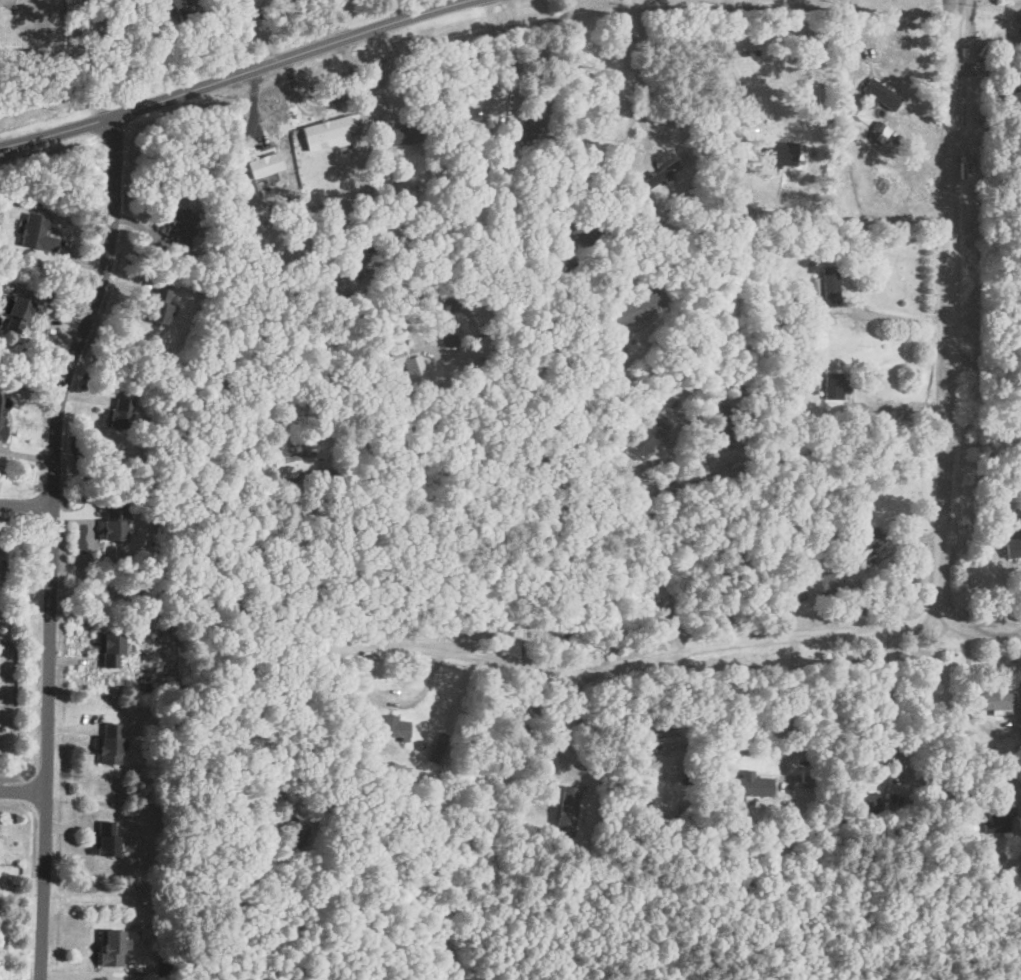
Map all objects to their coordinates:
building: (181, 10)
road: (727, 23)
road: (516, 51)
road: (492, 52)
road: (91, 53)
road: (639, 72)
road: (237, 75)
building: (1006, 87)
building: (879, 93)
road: (577, 99)
road: (362, 100)
building: (468, 117)
building: (325, 129)
building: (525, 129)
road: (747, 131)
building: (263, 165)
building: (657, 176)
building: (178, 225)
building: (582, 228)
building: (36, 233)
building: (367, 255)
building: (829, 286)
building: (156, 306)
building: (636, 308)
building: (15, 315)
road: (947, 315)
building: (834, 386)
building: (2, 414)
building: (117, 414)
building: (724, 418)
building: (646, 436)
building: (296, 439)
road: (982, 440)
building: (293, 464)
road: (638, 487)
road: (29, 502)
road: (481, 505)
building: (112, 524)
building: (863, 538)
road: (57, 541)
building: (1011, 547)
road: (259, 595)
building: (108, 650)
road: (670, 650)
road: (397, 698)
building: (996, 700)
road: (790, 707)
road: (564, 718)
building: (391, 727)
building: (656, 741)
building: (107, 744)
building: (437, 747)
road: (896, 773)
building: (750, 784)
road: (26, 788)
building: (864, 802)
building: (566, 810)
building: (288, 817)
building: (998, 817)
building: (104, 838)
building: (108, 947)

